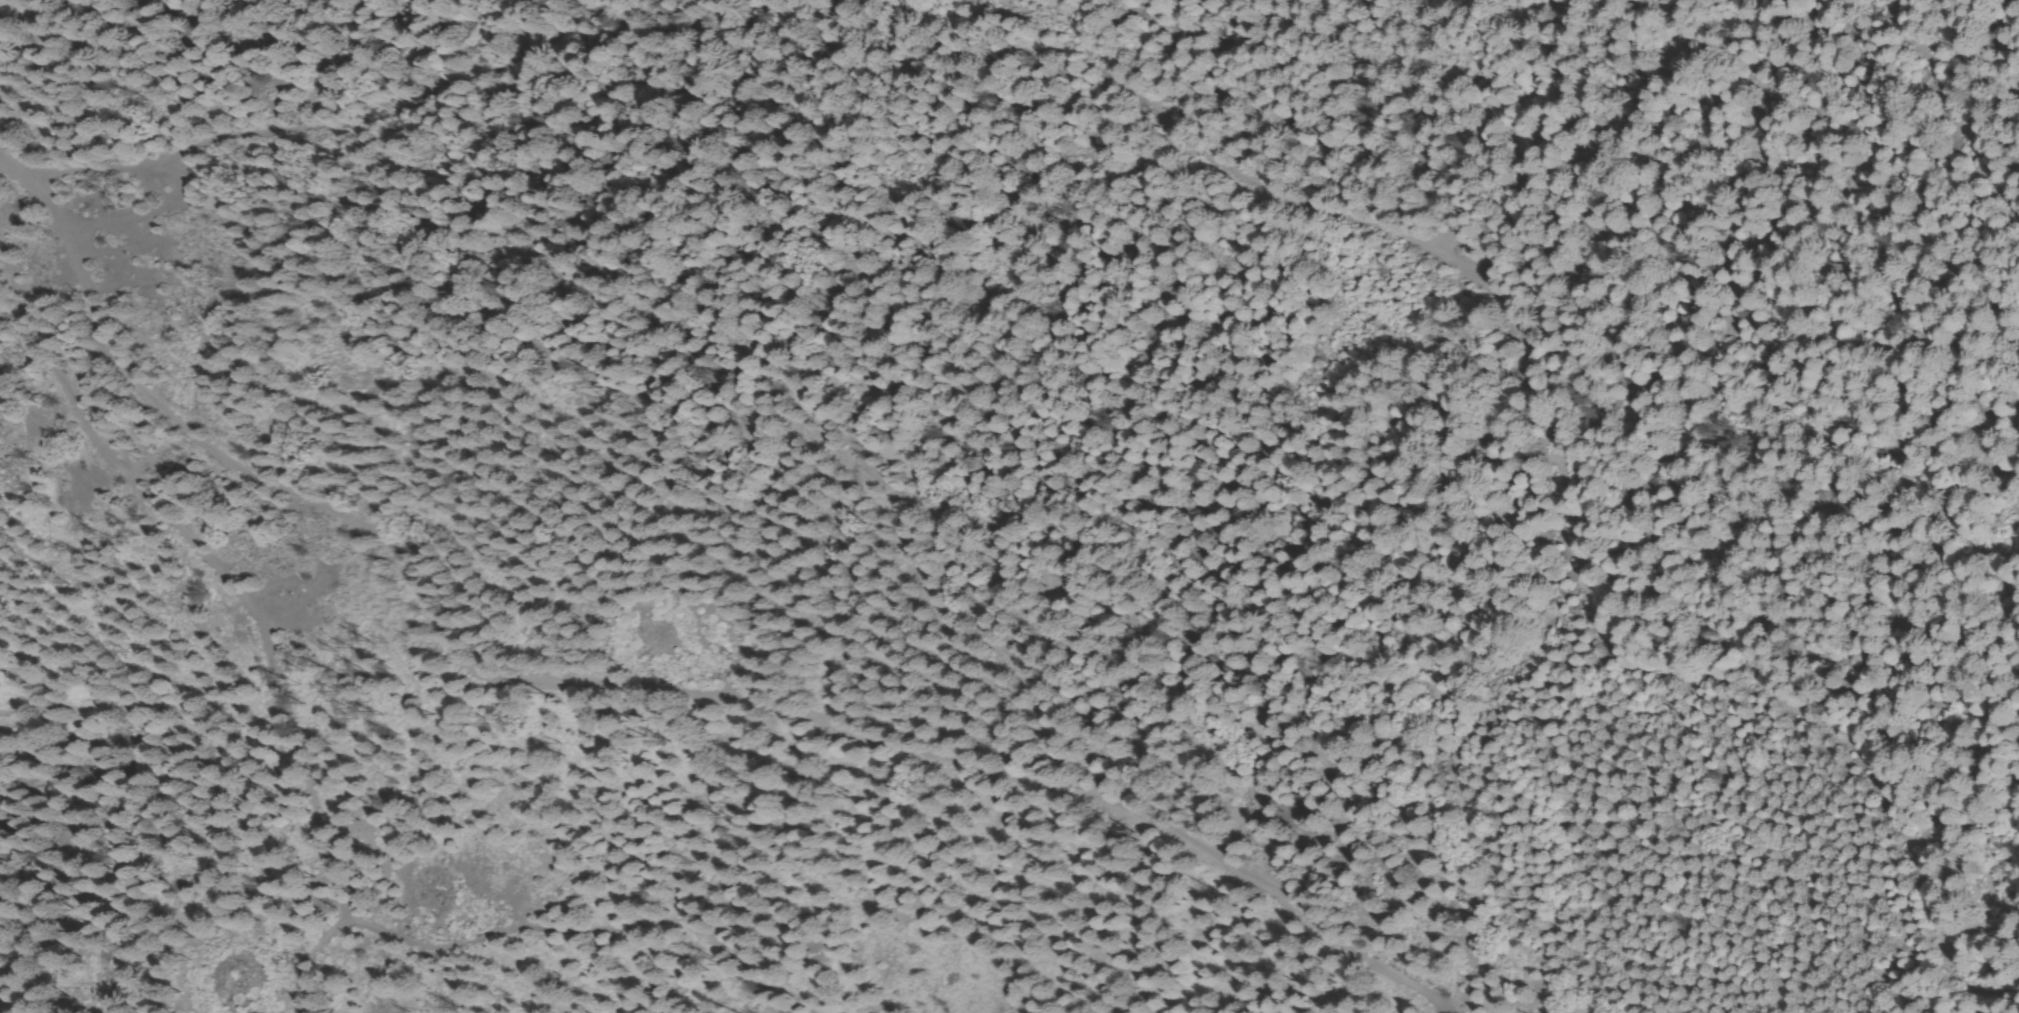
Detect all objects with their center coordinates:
road: (1974, 73)
road: (641, 683)

